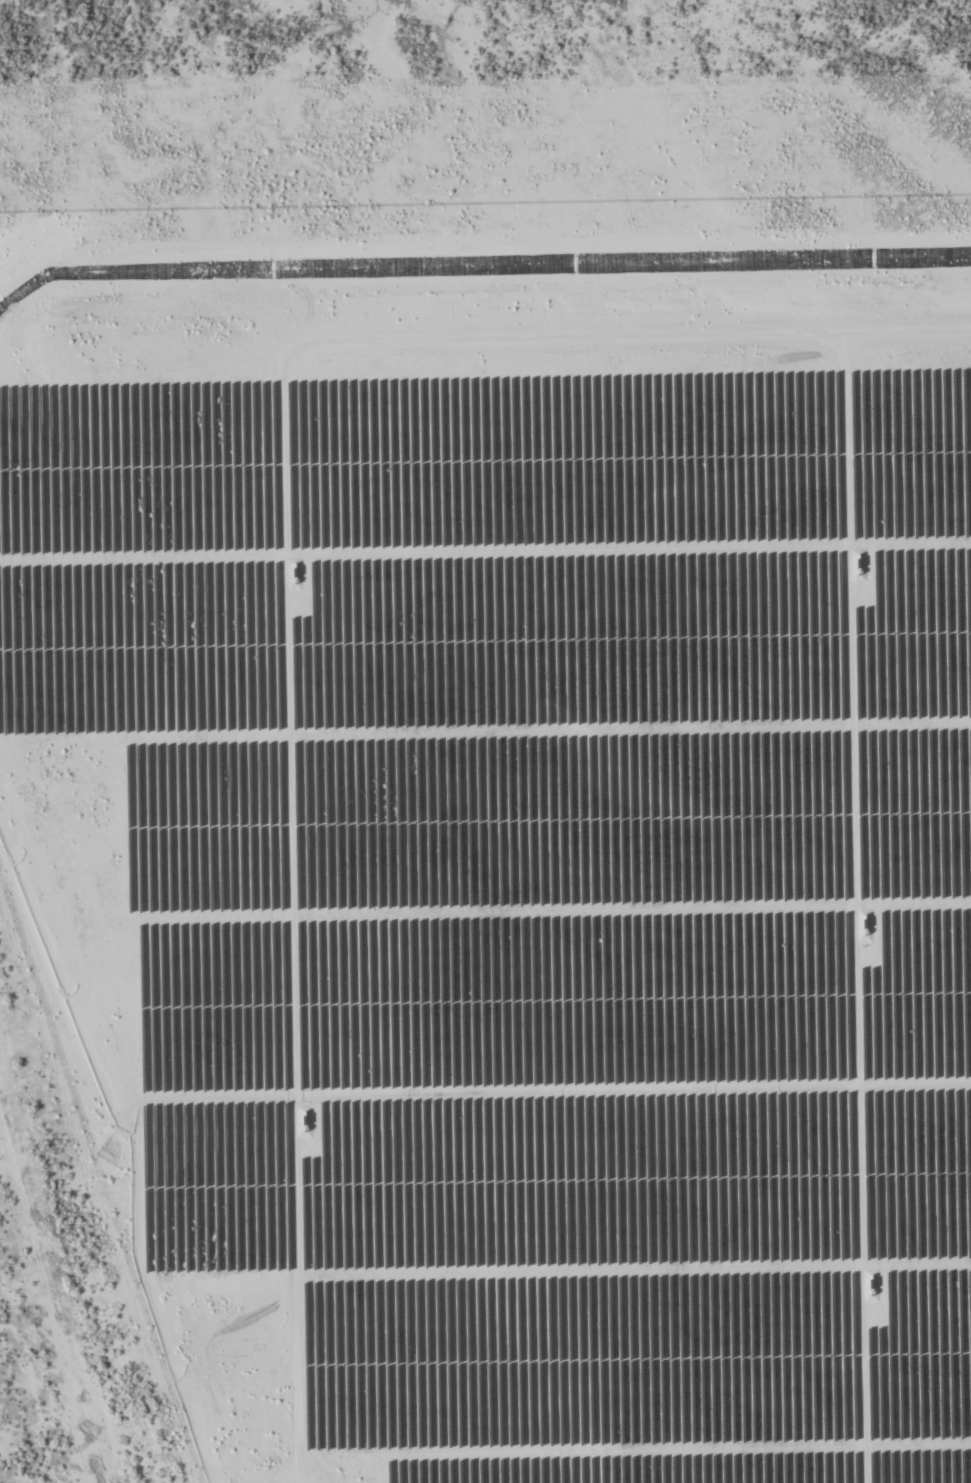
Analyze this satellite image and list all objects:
road: (767, 298)

